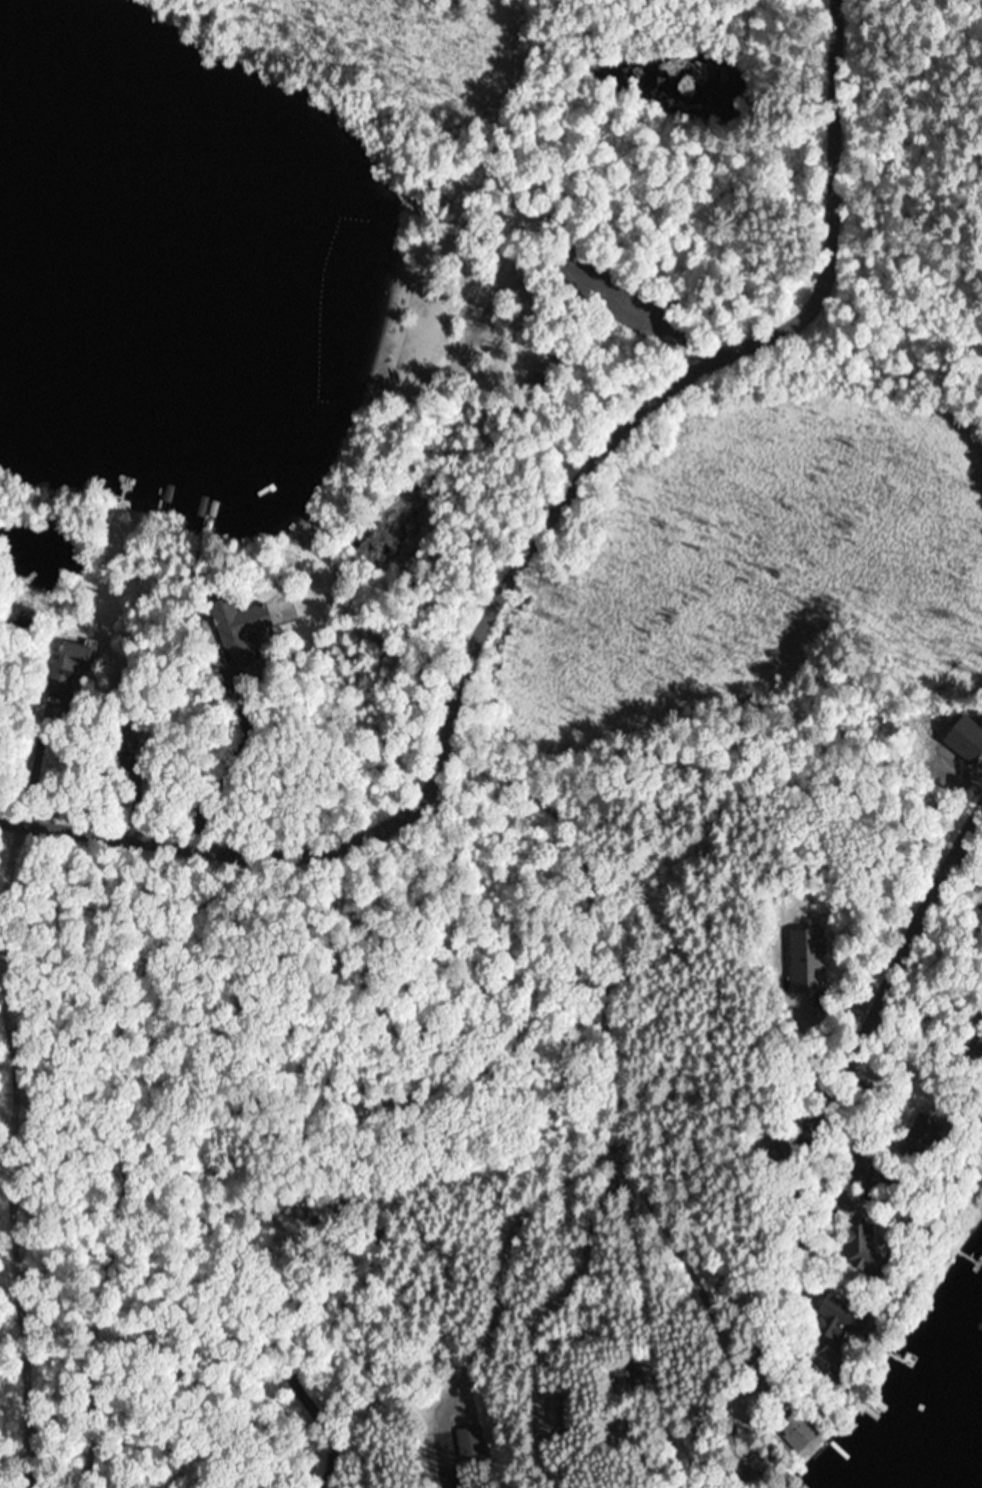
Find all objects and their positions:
parking lot: (622, 293)
road: (647, 303)
road: (522, 555)
building: (229, 617)
building: (73, 658)
building: (977, 913)
building: (806, 961)
road: (610, 986)
road: (470, 1177)
road: (808, 1190)
building: (852, 1249)
building: (826, 1322)
building: (818, 1365)
building: (790, 1433)
building: (465, 1443)
building: (740, 1469)

